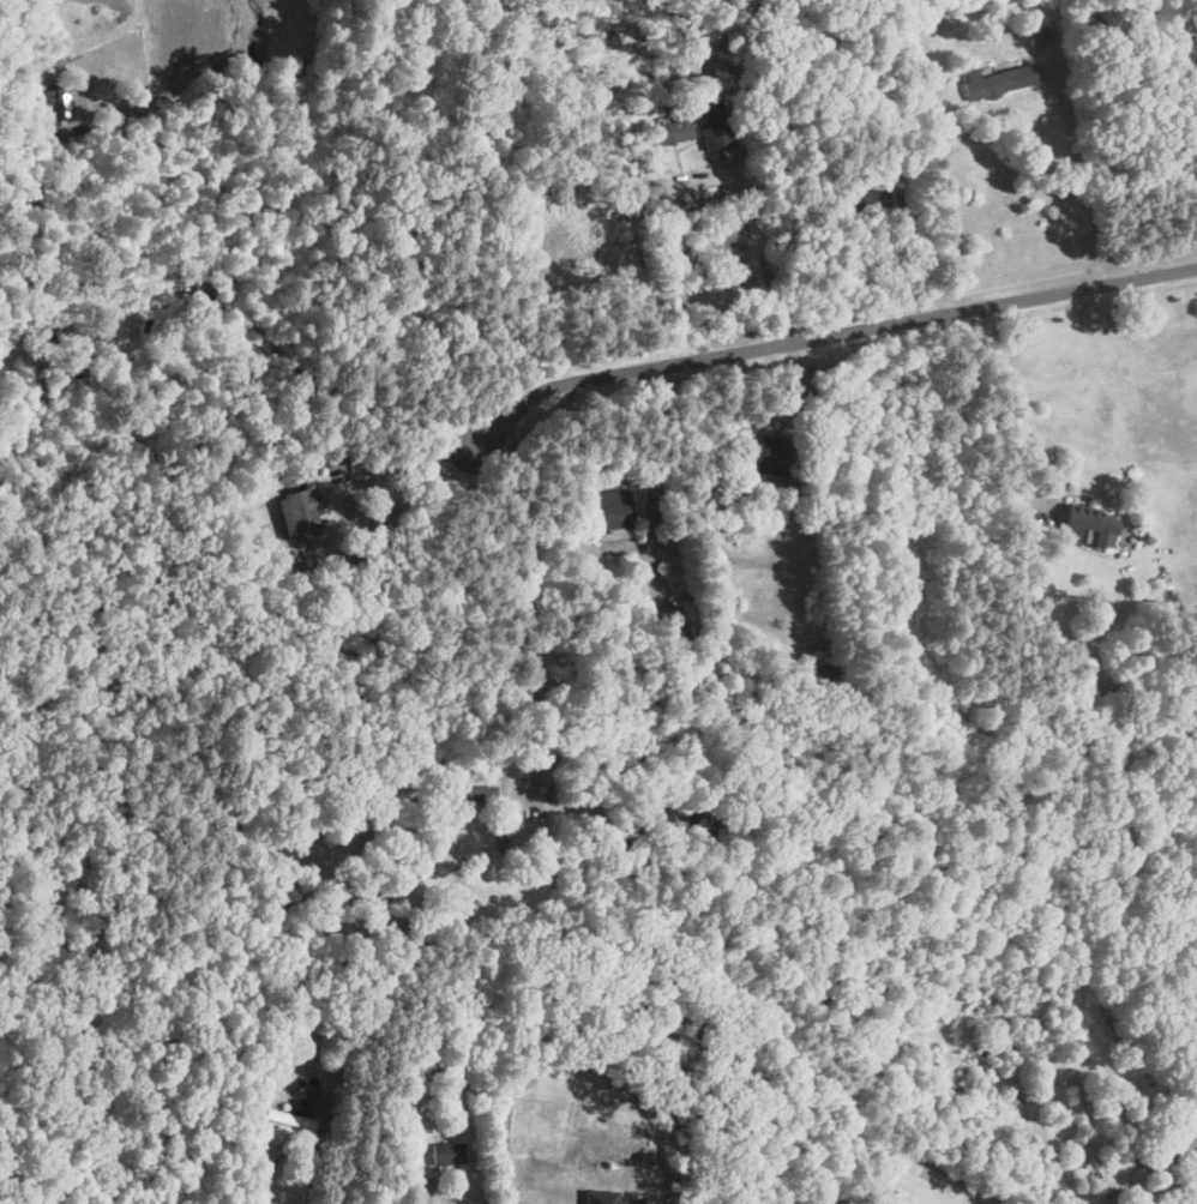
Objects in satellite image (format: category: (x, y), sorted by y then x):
building: (997, 80)
building: (58, 102)
building: (714, 124)
building: (669, 133)
road: (1135, 134)
road: (1081, 168)
building: (865, 197)
road: (765, 259)
road: (818, 337)
road: (981, 416)
building: (769, 454)
road: (399, 483)
building: (297, 512)
building: (608, 513)
building: (1090, 524)
building: (468, 790)
building: (287, 1118)
building: (1184, 1130)
building: (445, 1152)
road: (313, 1173)
road: (429, 1197)
building: (597, 1197)

